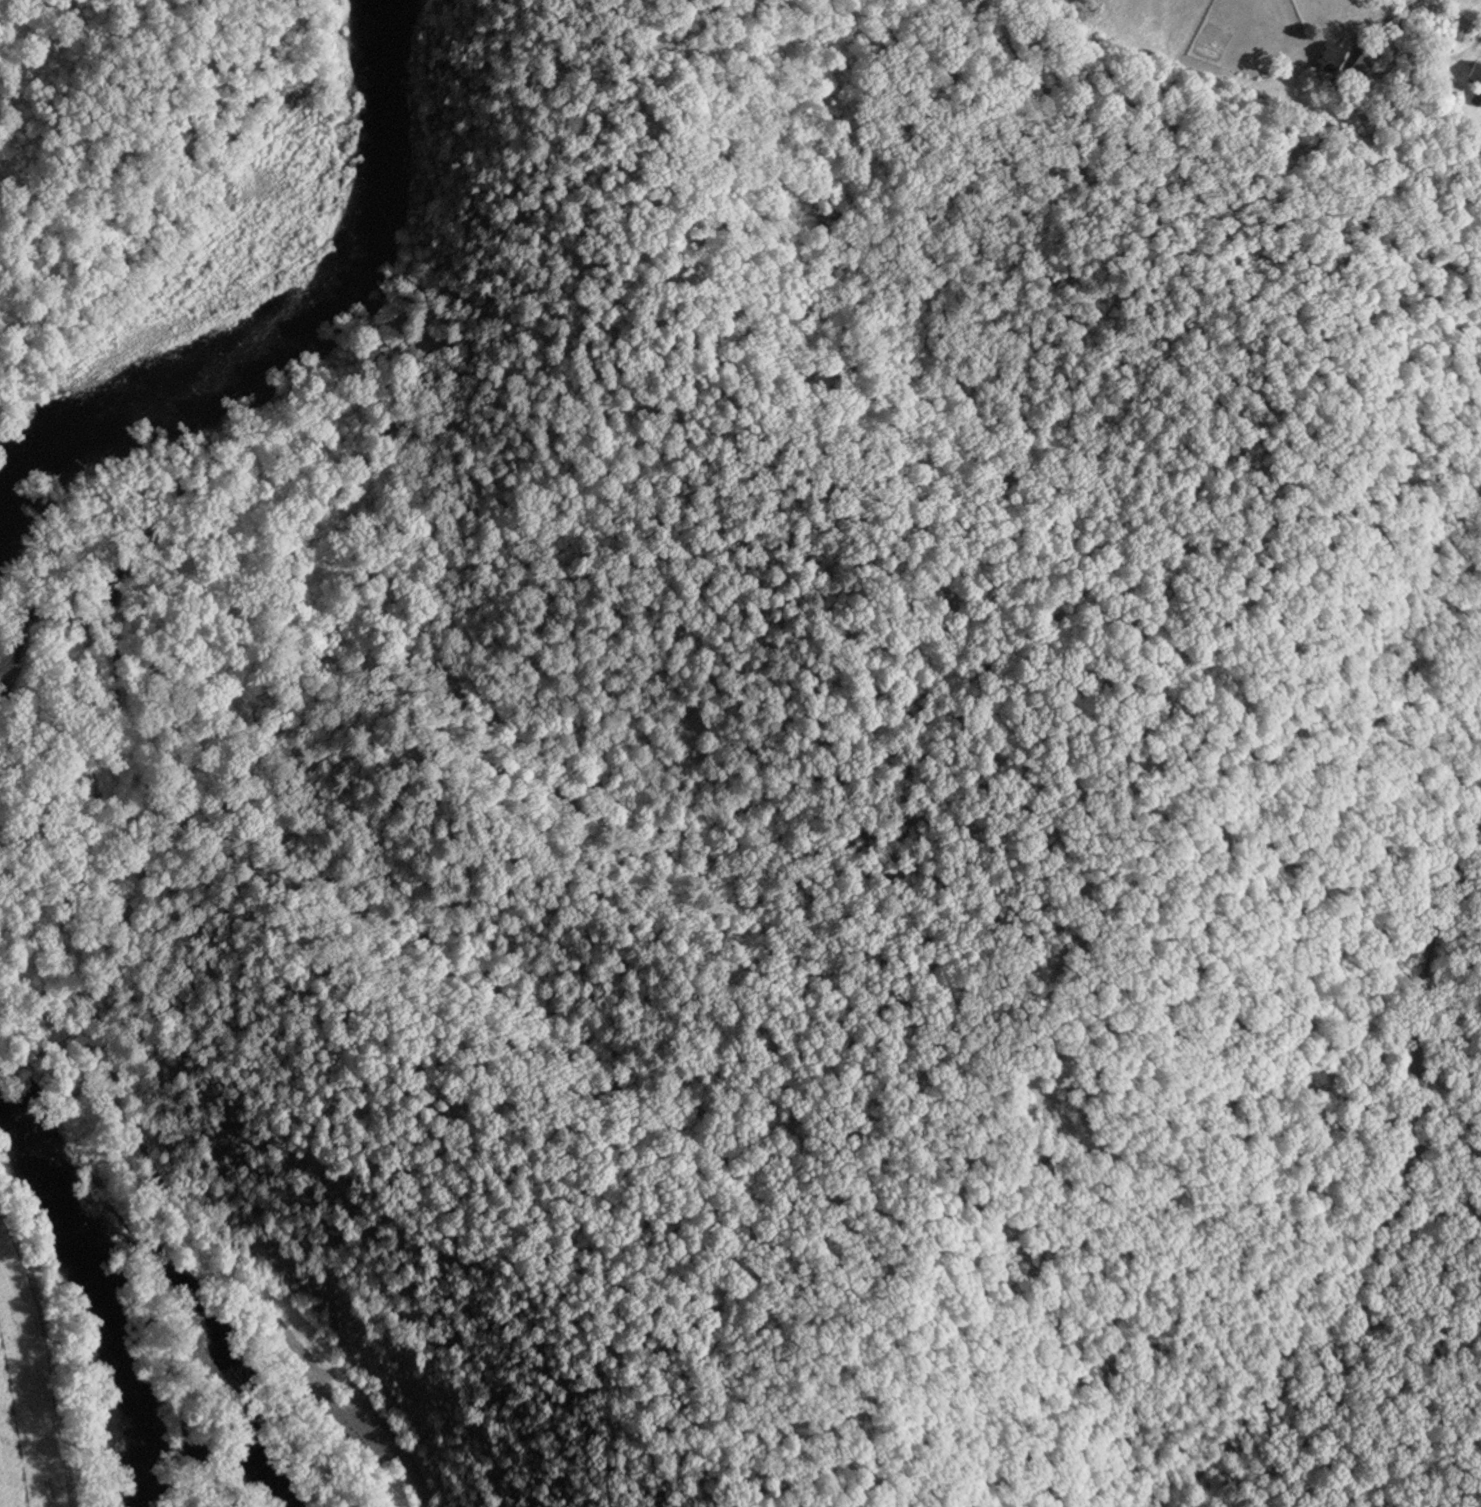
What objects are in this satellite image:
road: (1446, 11)
crop: (1300, 31)
building: (1328, 54)
building: (1475, 80)
river: (298, 325)
road: (1398, 1202)
river: (70, 1269)

